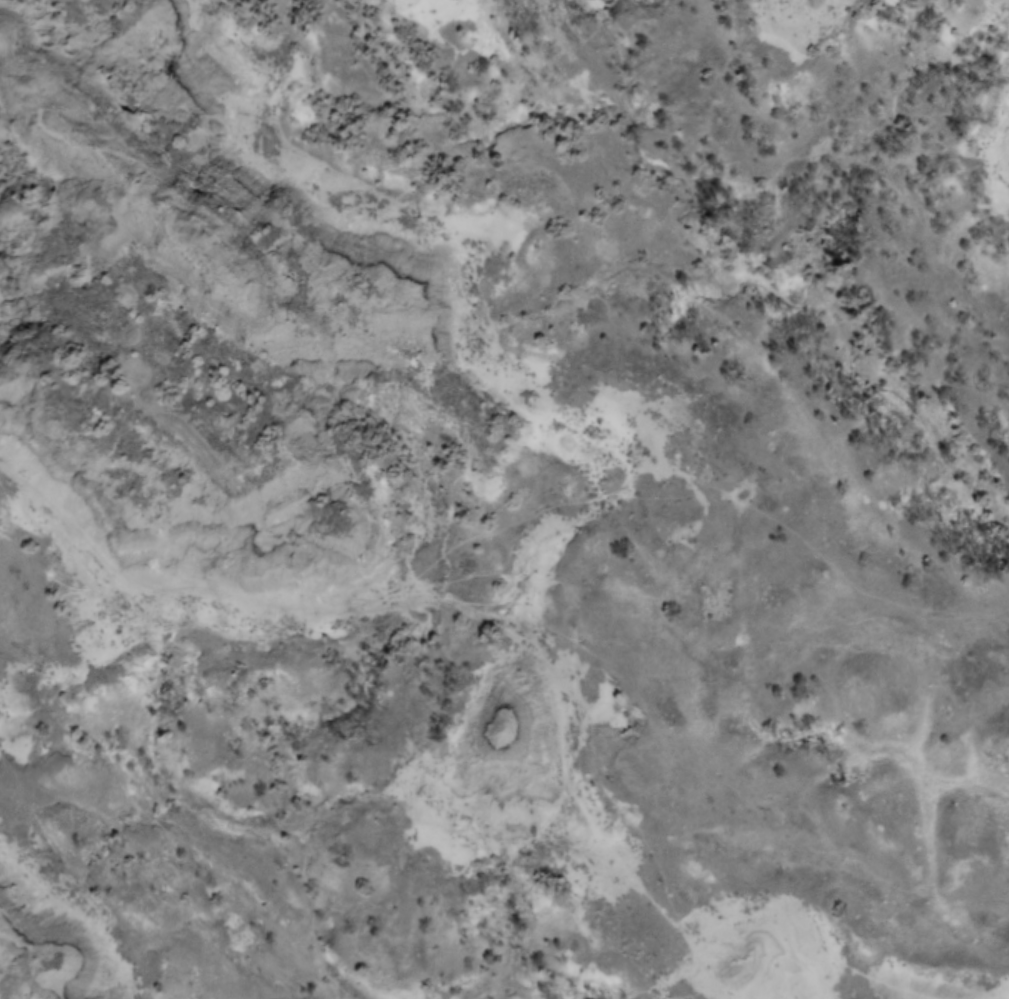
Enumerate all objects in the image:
road: (474, 605)

